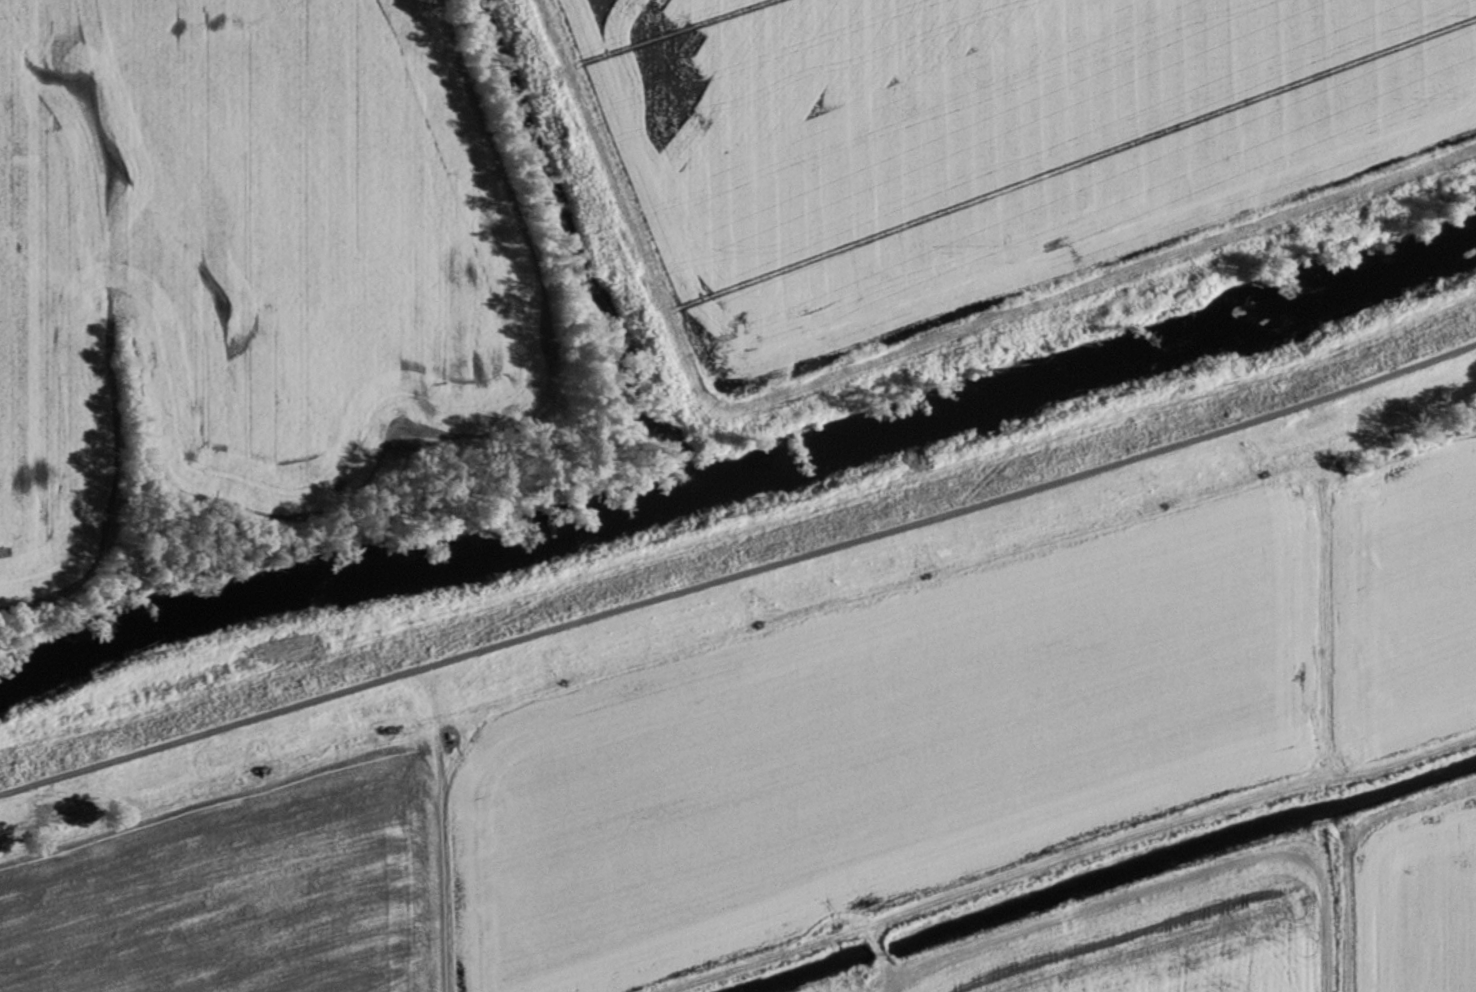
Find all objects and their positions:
crop: (247, 264)
river: (747, 476)
road: (740, 574)

